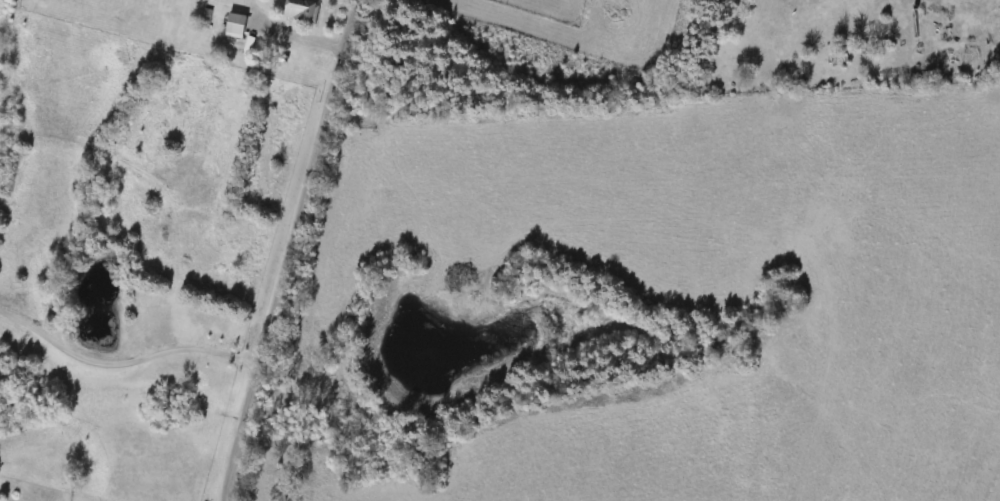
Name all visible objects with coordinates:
building: (302, 10)
building: (236, 25)
road: (288, 250)
road: (123, 361)

